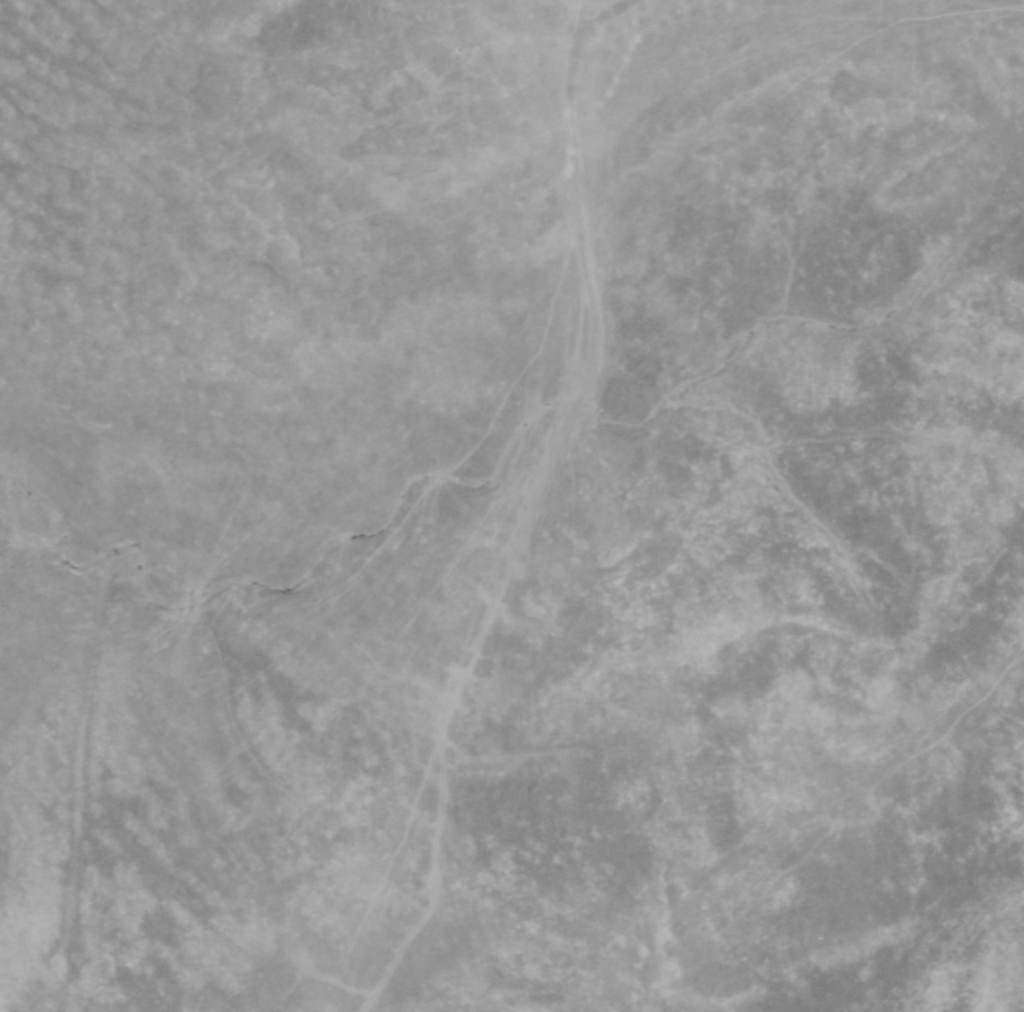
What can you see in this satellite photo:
road: (536, 516)

